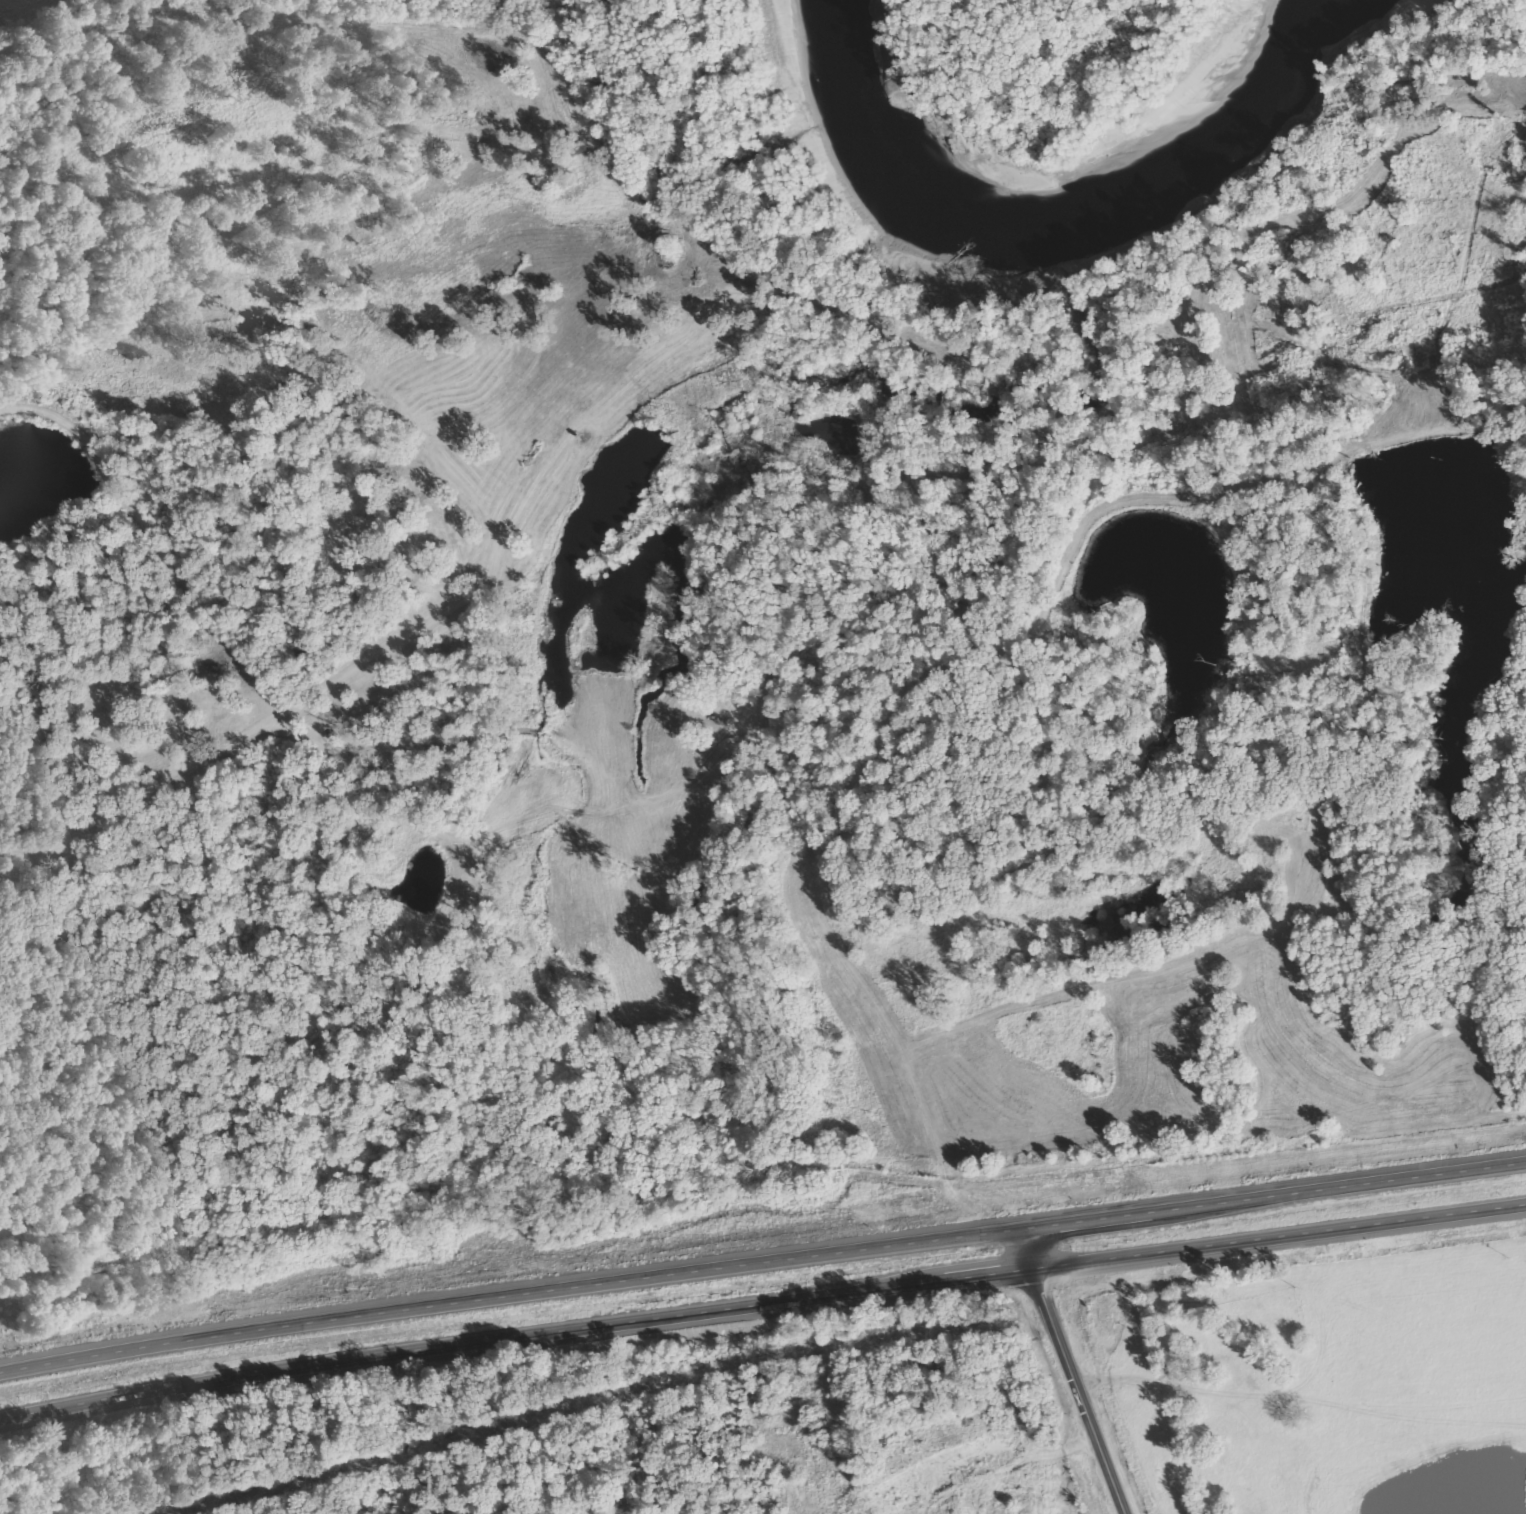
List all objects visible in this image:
road: (61, 27)
river: (1012, 211)
road: (762, 1254)
road: (761, 1300)
road: (1077, 1371)
road: (985, 1443)

